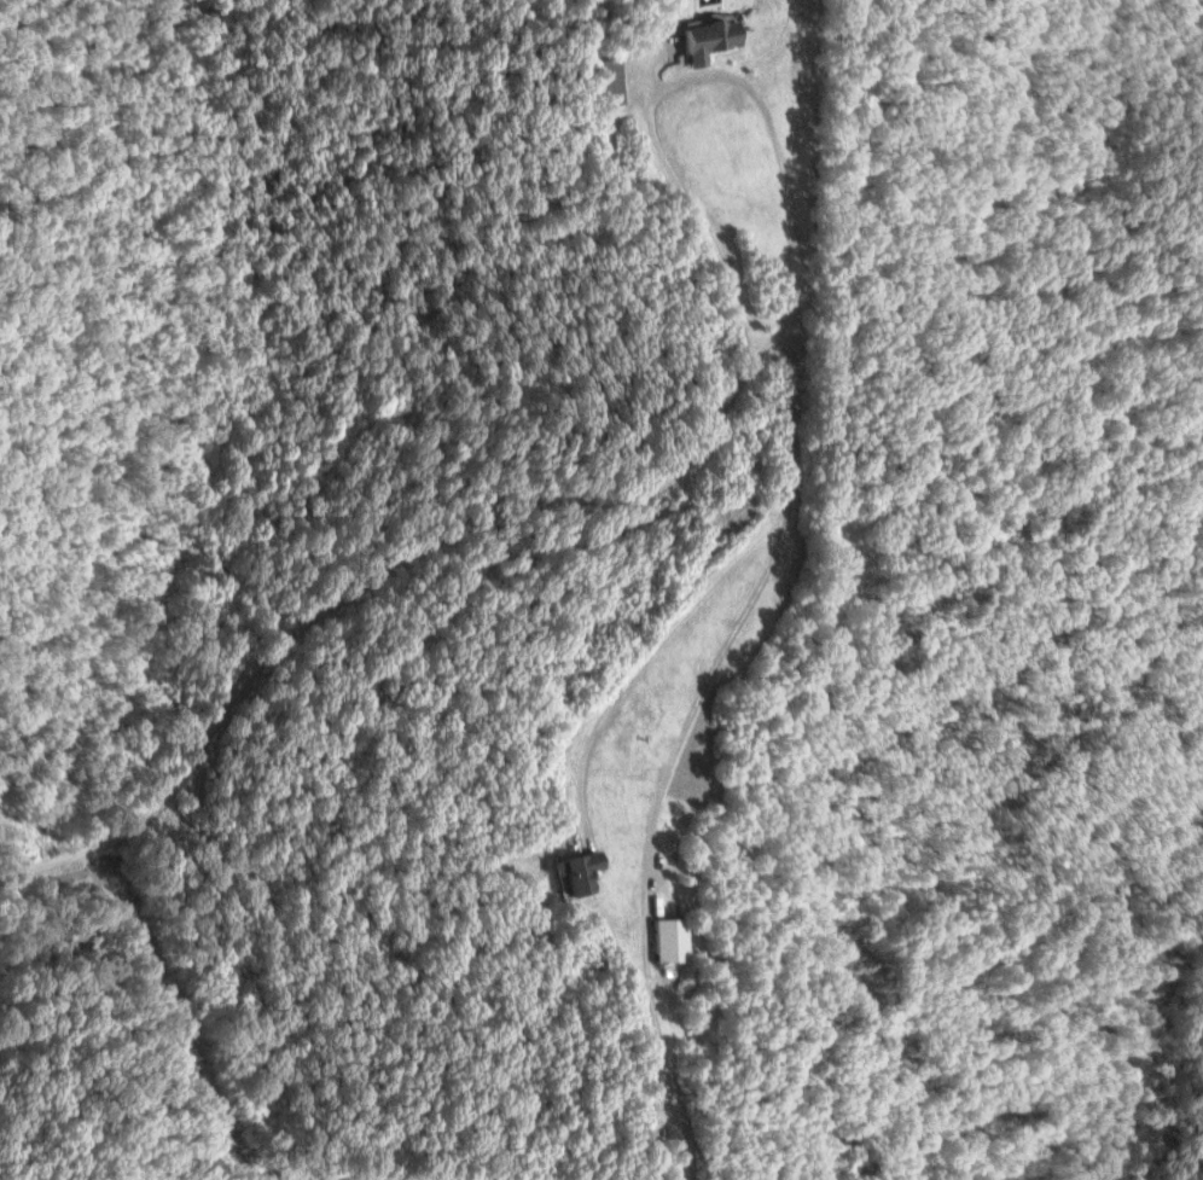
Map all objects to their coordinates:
building: (698, 41)
road: (684, 74)
building: (599, 83)
road: (632, 484)
building: (566, 871)
building: (662, 940)

